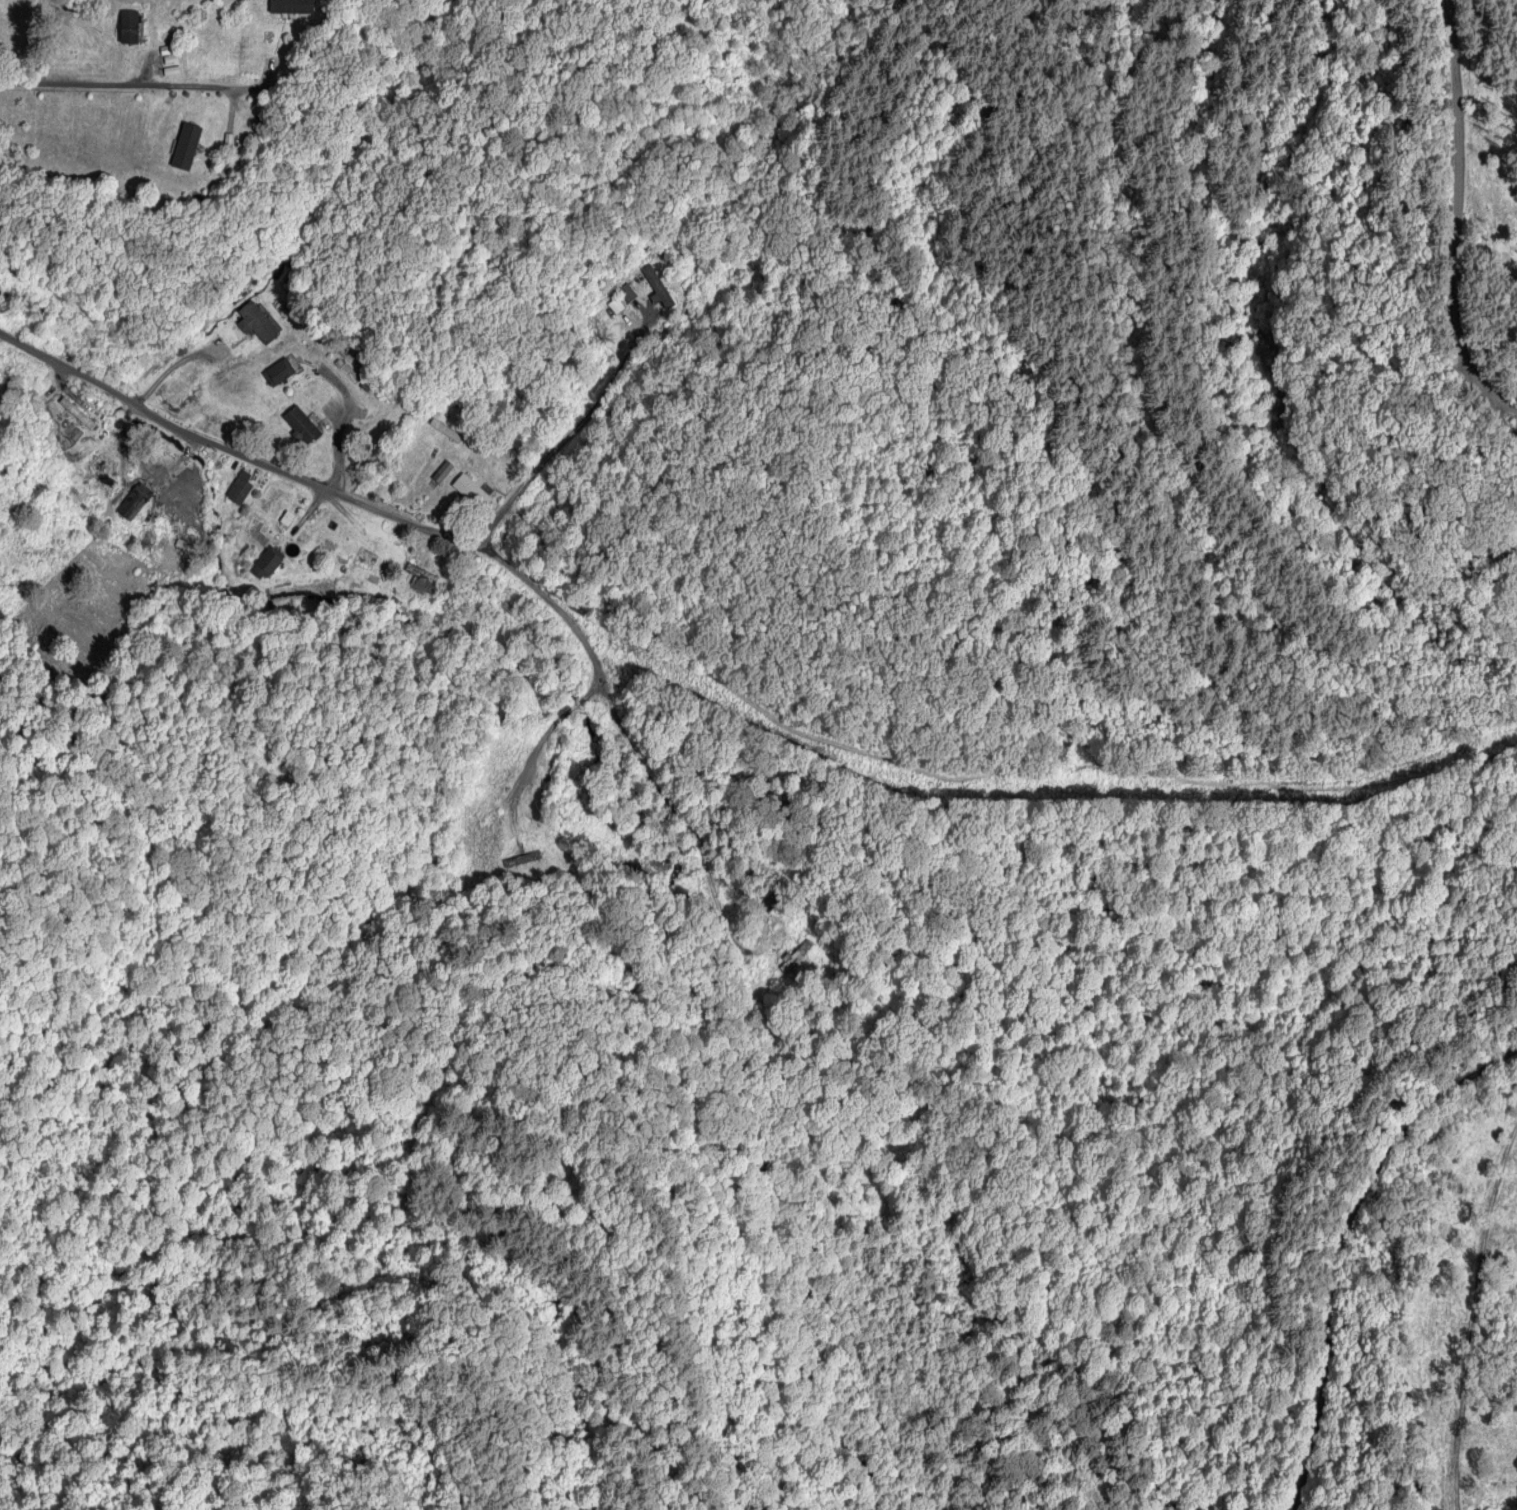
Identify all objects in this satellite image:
building: (292, 7)
building: (131, 28)
road: (122, 85)
building: (208, 128)
building: (628, 294)
building: (257, 324)
road: (171, 365)
building: (280, 373)
building: (80, 416)
building: (302, 427)
building: (446, 431)
road: (563, 432)
building: (101, 466)
building: (443, 472)
building: (241, 487)
building: (468, 488)
building: (133, 502)
road: (381, 509)
building: (287, 519)
building: (267, 566)
building: (421, 578)
road: (975, 769)
building: (769, 903)
building: (795, 956)

